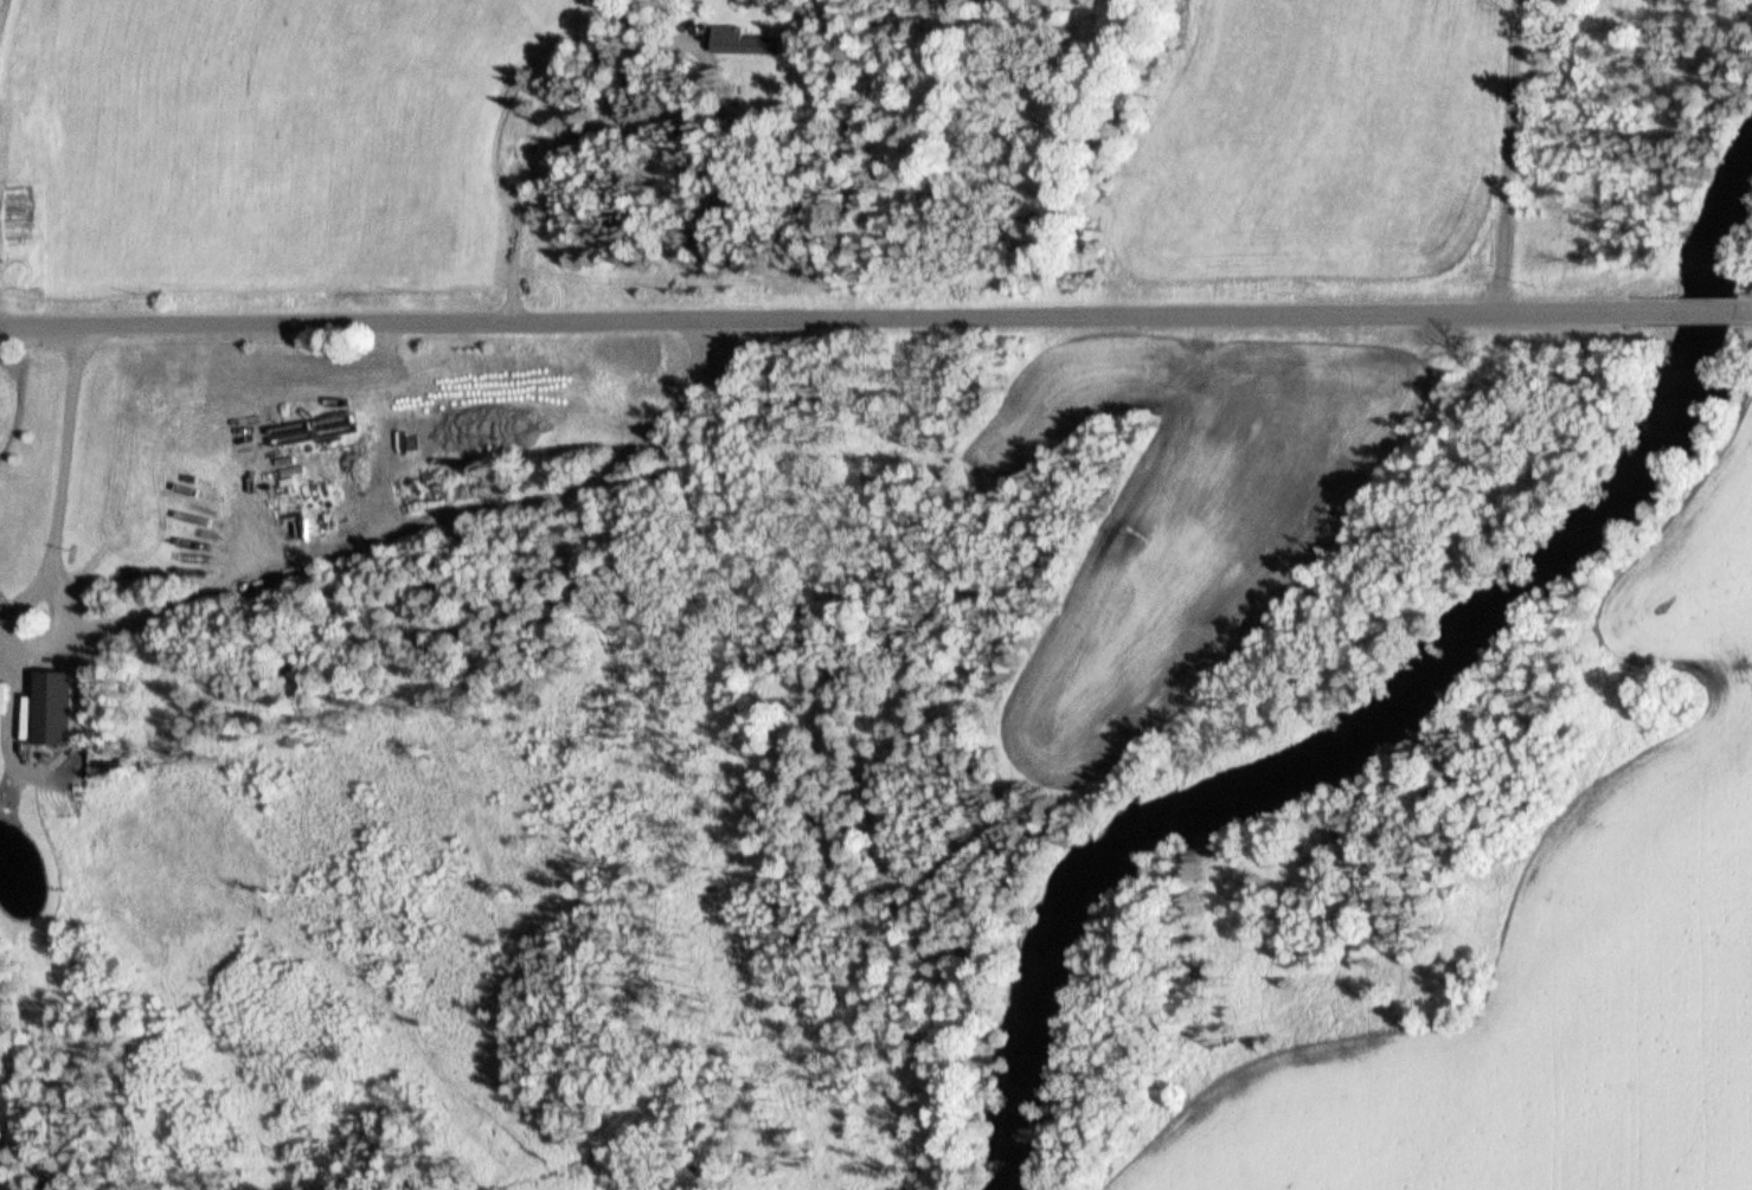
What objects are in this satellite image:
building: (746, 45)
road: (553, 150)
road: (1525, 159)
road: (1707, 313)
road: (830, 321)
road: (50, 546)
building: (54, 709)
river: (1387, 729)
building: (107, 765)

